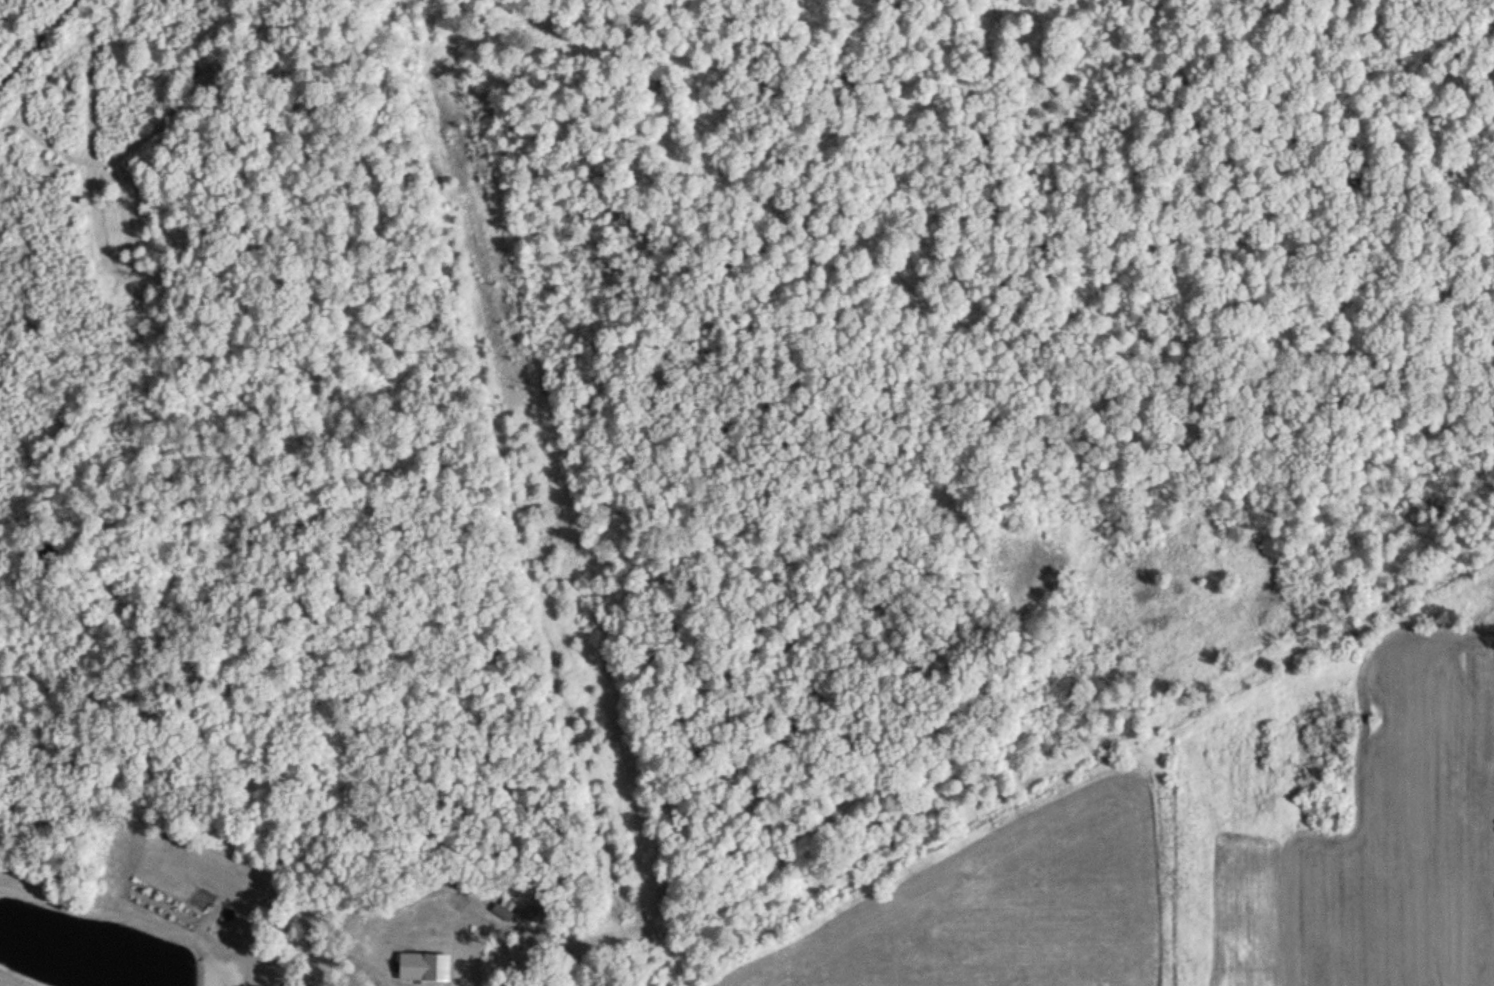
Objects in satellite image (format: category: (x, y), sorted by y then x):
road: (1303, 255)
building: (426, 966)

